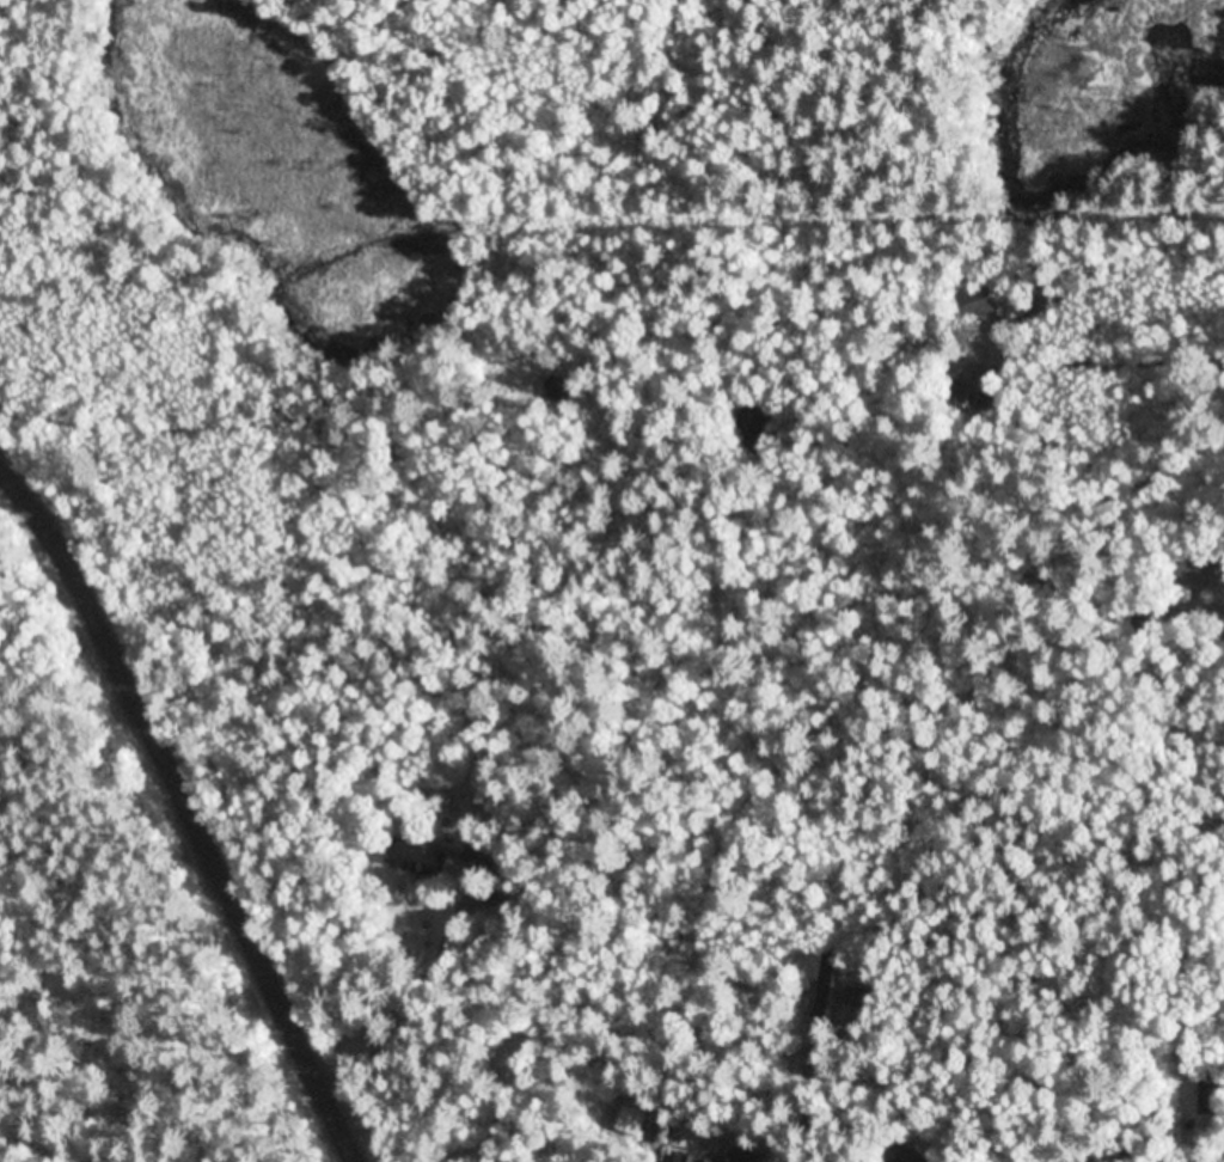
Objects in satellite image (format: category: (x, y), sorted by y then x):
building: (981, 298)
road: (1143, 347)
building: (972, 389)
building: (555, 391)
road: (214, 397)
building: (1195, 569)
road: (183, 813)
building: (416, 857)
building: (489, 897)
building: (1208, 1096)
road: (302, 1123)
building: (906, 1151)

